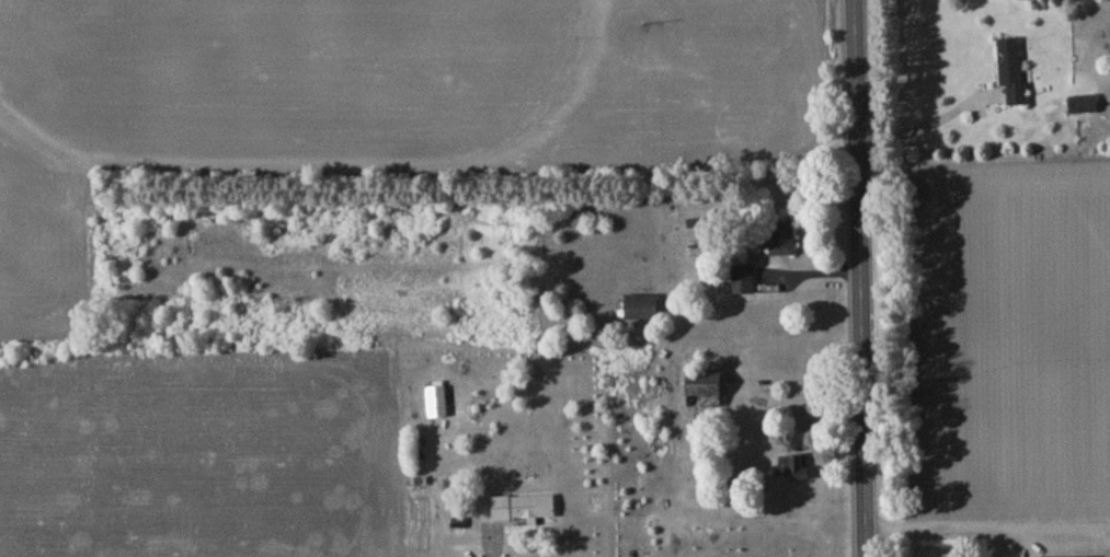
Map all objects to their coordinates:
building: (1012, 73)
building: (1084, 107)
road: (925, 128)
building: (780, 241)
road: (859, 278)
building: (744, 280)
building: (642, 310)
building: (705, 394)
building: (792, 471)
building: (524, 510)
road: (970, 524)
road: (1094, 524)

